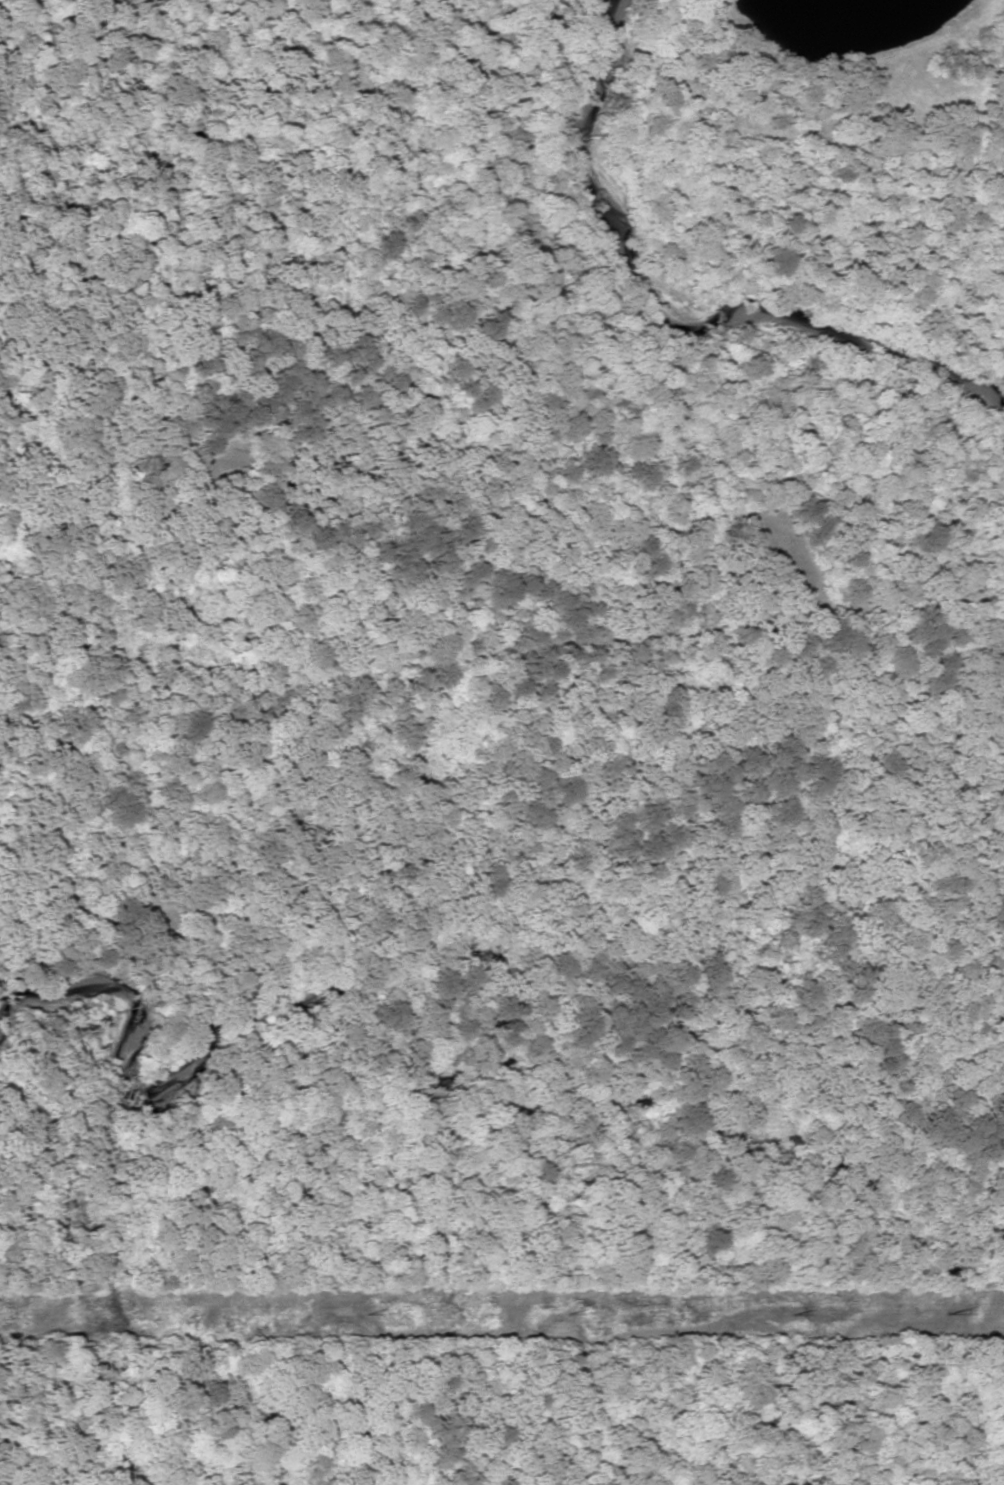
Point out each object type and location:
power tower: (366, 1312)
power tower: (795, 1312)

